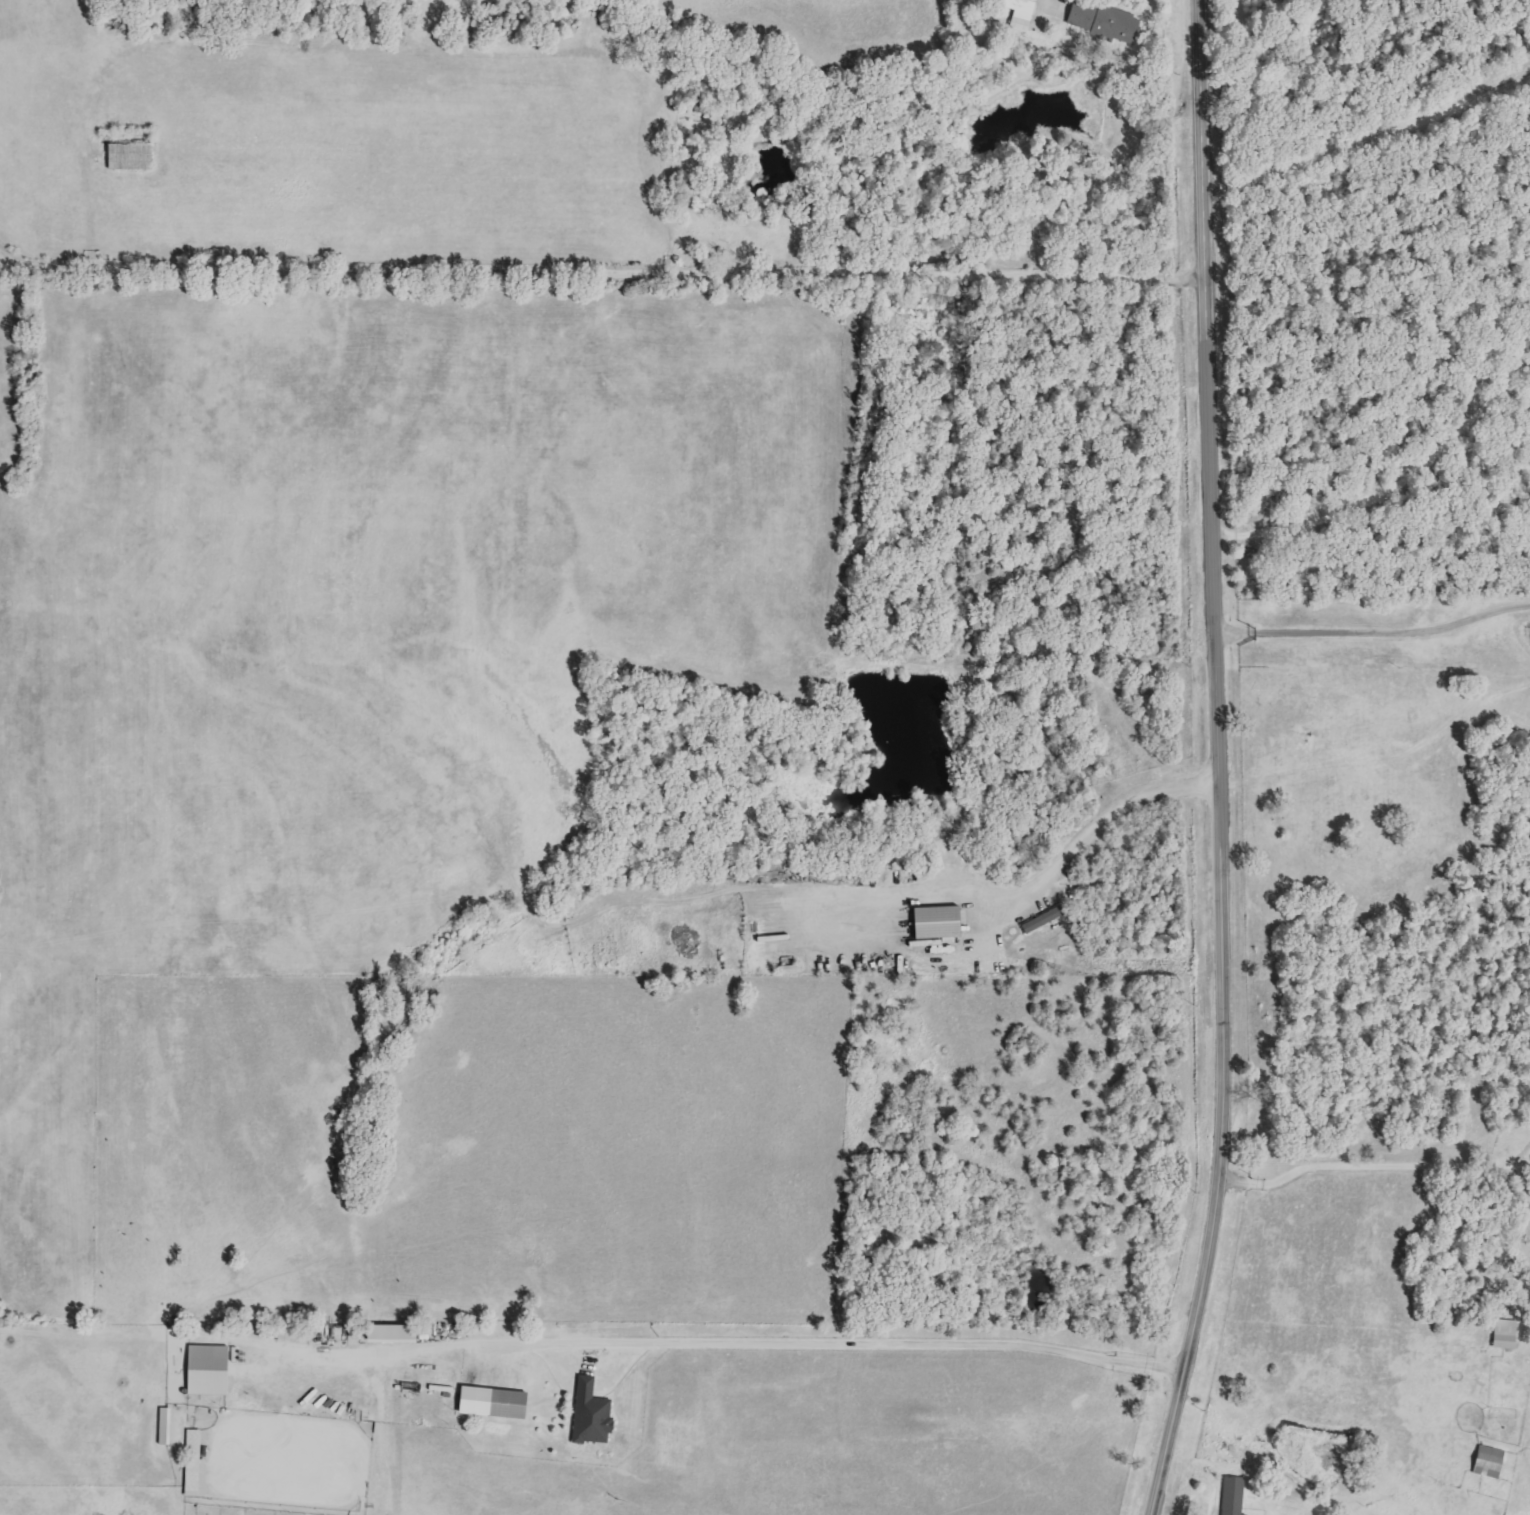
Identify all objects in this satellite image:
building: (1020, 14)
building: (1103, 21)
road: (1369, 145)
road: (605, 255)
road: (1375, 637)
road: (1219, 761)
road: (1089, 826)
building: (936, 927)
road: (1379, 1163)
building: (391, 1333)
building: (1505, 1334)
road: (767, 1348)
building: (207, 1370)
building: (492, 1402)
building: (591, 1414)
building: (164, 1426)
building: (1489, 1462)
building: (194, 1466)
building: (1232, 1495)

